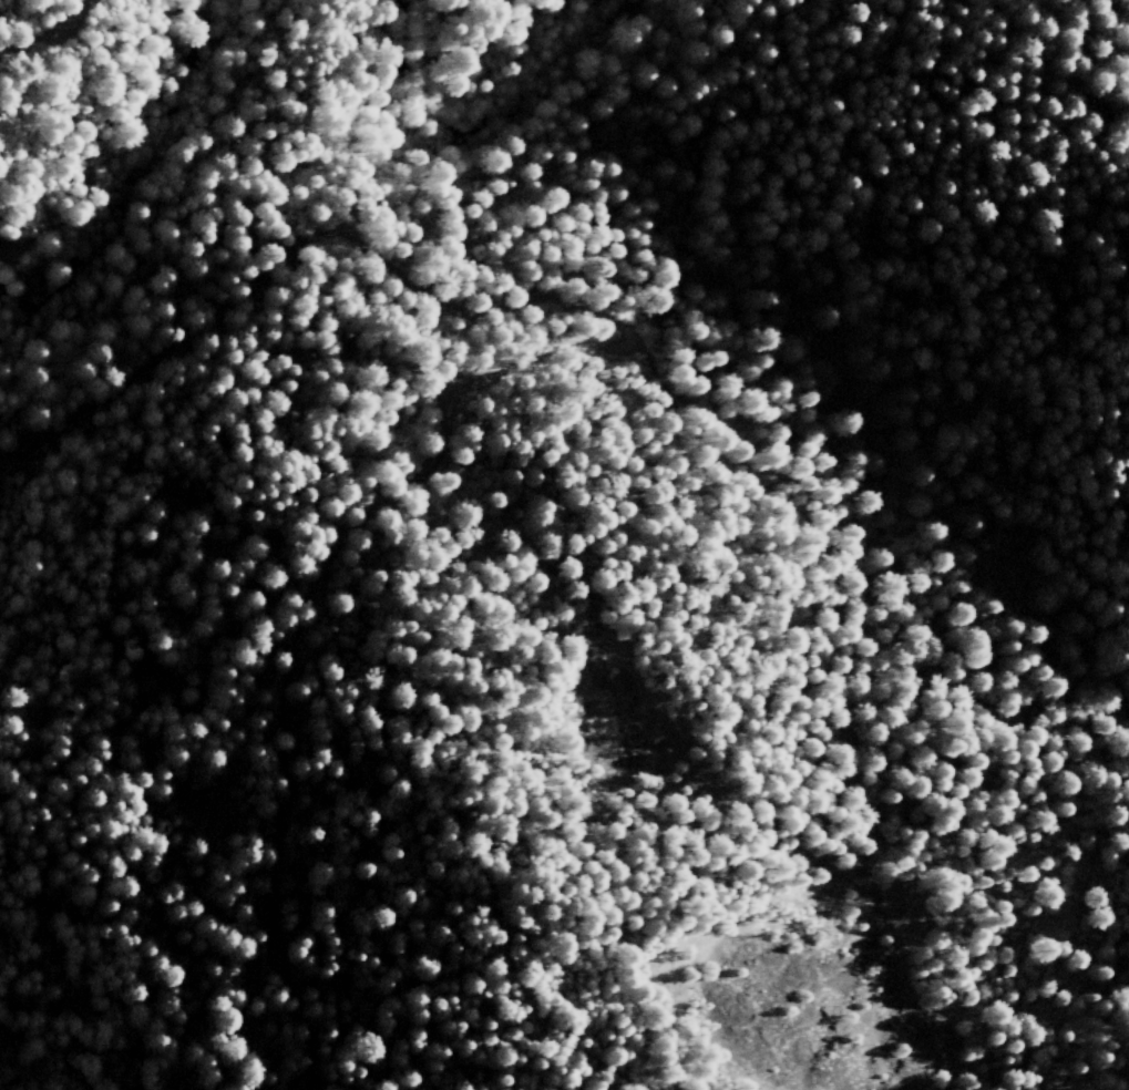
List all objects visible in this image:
road: (51, 34)
road: (505, 374)

